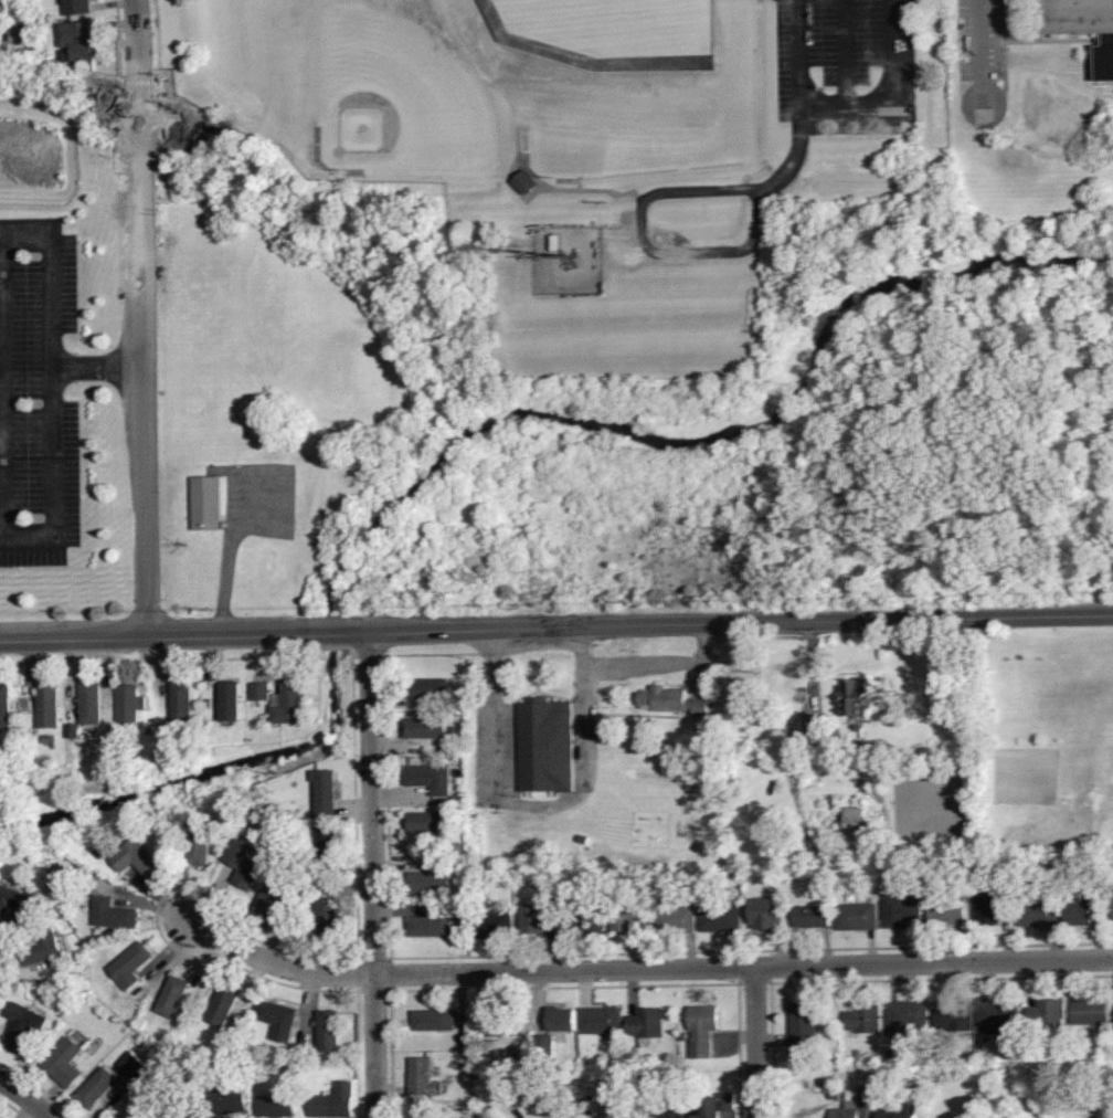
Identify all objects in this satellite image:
park: (304, 2)
building: (77, 6)
building: (1082, 24)
park: (608, 32)
building: (79, 38)
road: (982, 52)
road: (846, 53)
road: (891, 53)
park: (405, 88)
road: (801, 98)
building: (526, 181)
road: (645, 199)
road: (50, 277)
road: (142, 316)
road: (52, 432)
road: (1, 502)
building: (205, 502)
road: (229, 568)
road: (730, 622)
road: (331, 631)
road: (157, 633)
road: (814, 663)
road: (662, 665)
building: (428, 689)
building: (263, 692)
building: (854, 697)
building: (230, 702)
building: (672, 702)
building: (210, 703)
building: (289, 703)
building: (94, 704)
building: (182, 704)
building: (457, 705)
building: (4, 707)
building: (132, 707)
building: (49, 708)
building: (426, 729)
building: (149, 730)
building: (858, 732)
building: (30, 736)
building: (812, 739)
building: (50, 740)
building: (545, 745)
building: (431, 780)
building: (327, 790)
building: (458, 801)
road: (539, 805)
building: (274, 809)
building: (252, 810)
building: (852, 822)
building: (426, 823)
building: (687, 826)
building: (583, 840)
building: (202, 845)
building: (328, 845)
building: (459, 846)
building: (100, 854)
building: (250, 859)
building: (141, 861)
building: (79, 869)
road: (373, 874)
building: (780, 874)
building: (86, 876)
building: (701, 878)
building: (295, 879)
building: (891, 879)
building: (566, 880)
building: (658, 882)
building: (430, 883)
building: (1020, 885)
building: (931, 886)
building: (316, 890)
building: (1010, 894)
building: (273, 901)
building: (10, 904)
building: (1111, 905)
building: (35, 907)
building: (992, 908)
building: (900, 910)
building: (1039, 911)
building: (1082, 911)
building: (719, 913)
building: (947, 913)
building: (768, 914)
building: (115, 915)
building: (627, 916)
building: (330, 917)
building: (812, 917)
building: (857, 918)
building: (538, 919)
building: (584, 920)
building: (674, 920)
building: (432, 925)
building: (492, 925)
building: (42, 947)
road: (277, 963)
road: (743, 964)
building: (131, 966)
building: (172, 998)
building: (224, 1005)
building: (1089, 1012)
building: (1046, 1015)
building: (998, 1016)
building: (907, 1017)
building: (955, 1017)
building: (561, 1019)
building: (278, 1020)
building: (601, 1021)
building: (863, 1021)
building: (435, 1022)
building: (504, 1023)
building: (24, 1024)
building: (239, 1024)
building: (647, 1025)
building: (804, 1026)
building: (329, 1031)
building: (701, 1031)
building: (162, 1041)
road: (756, 1041)
building: (544, 1047)
building: (1030, 1048)
building: (891, 1054)
building: (859, 1055)
building: (632, 1056)
building: (304, 1058)
building: (523, 1059)
building: (289, 1062)
building: (66, 1063)
building: (135, 1066)
building: (696, 1076)
building: (423, 1078)
building: (97, 1088)
building: (204, 1090)
road: (25, 1095)
building: (835, 1098)
building: (1086, 1098)
building: (728, 1101)
building: (229, 1103)
building: (335, 1103)
building: (278, 1105)
building: (854, 1107)
building: (710, 1108)
building: (183, 1111)
building: (909, 1111)
building: (422, 1112)
building: (615, 1112)
building: (666, 1115)
building: (123, 1117)

